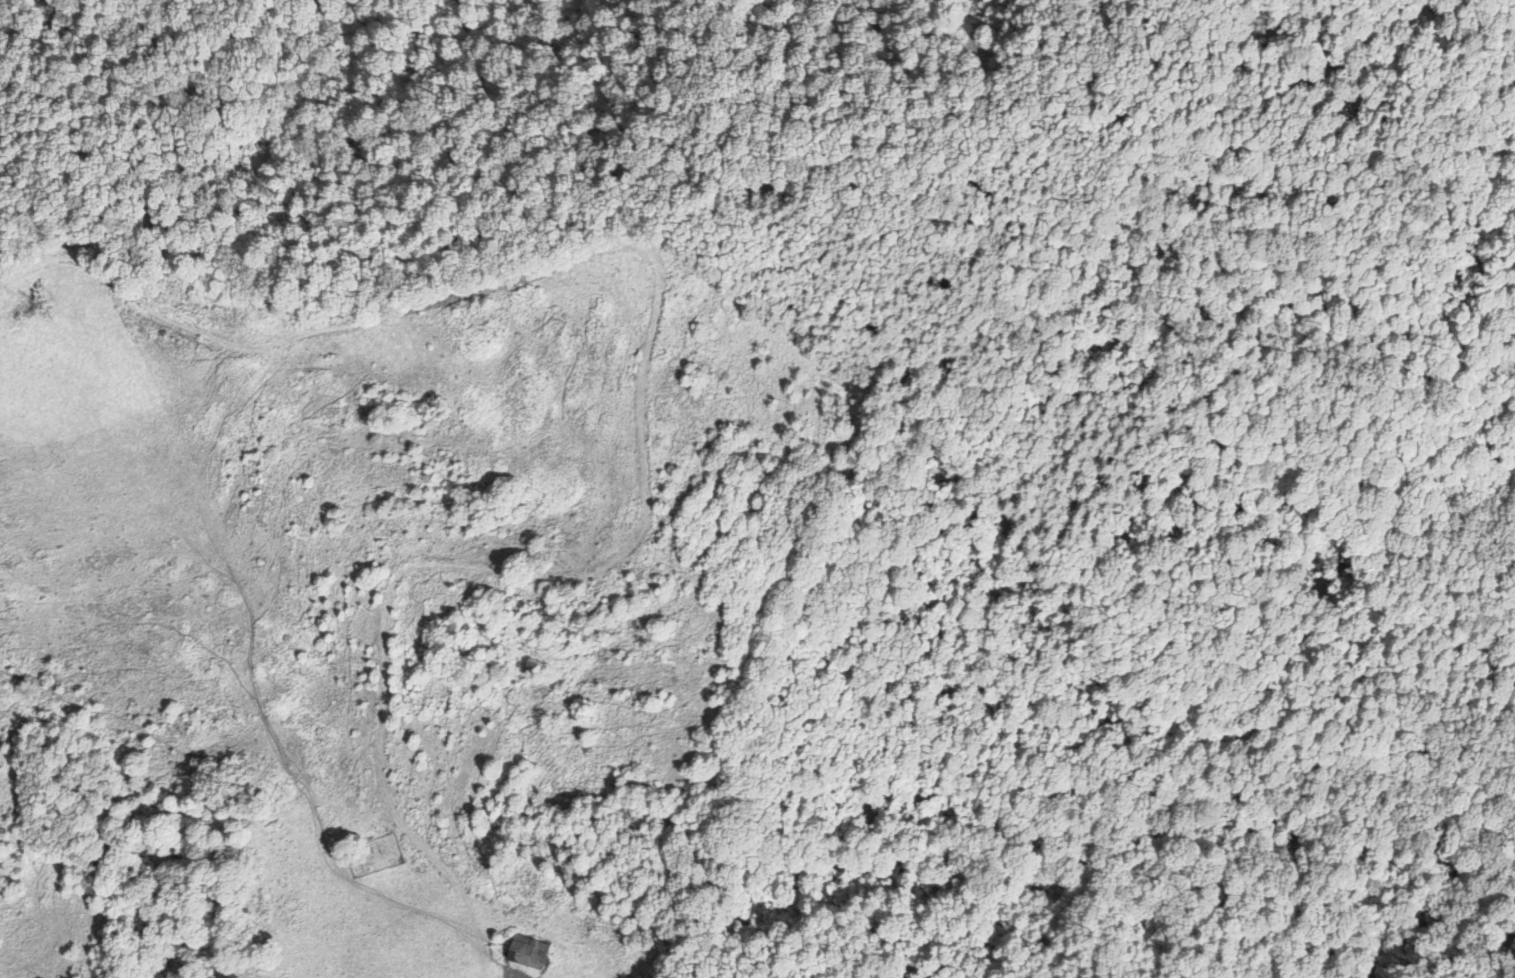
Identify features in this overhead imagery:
road: (1414, 15)
road: (864, 114)
road: (640, 388)
building: (528, 952)

